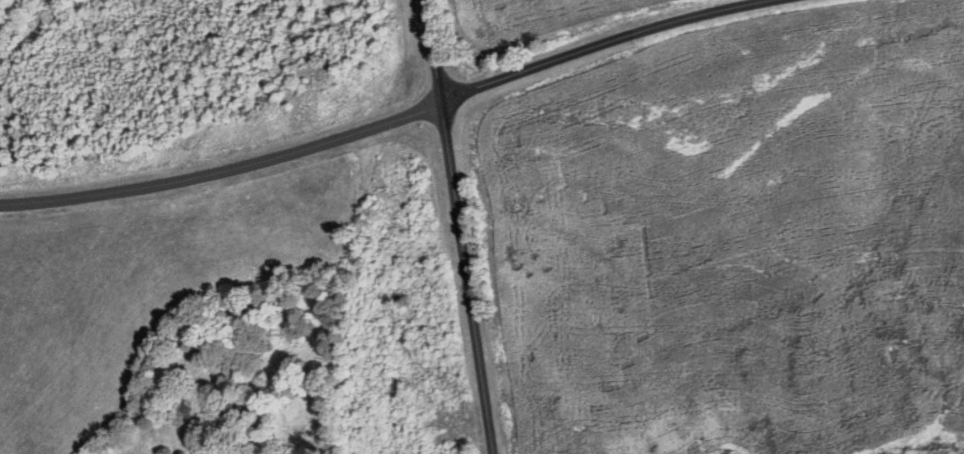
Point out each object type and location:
road: (741, 4)
road: (364, 137)
road: (458, 226)

